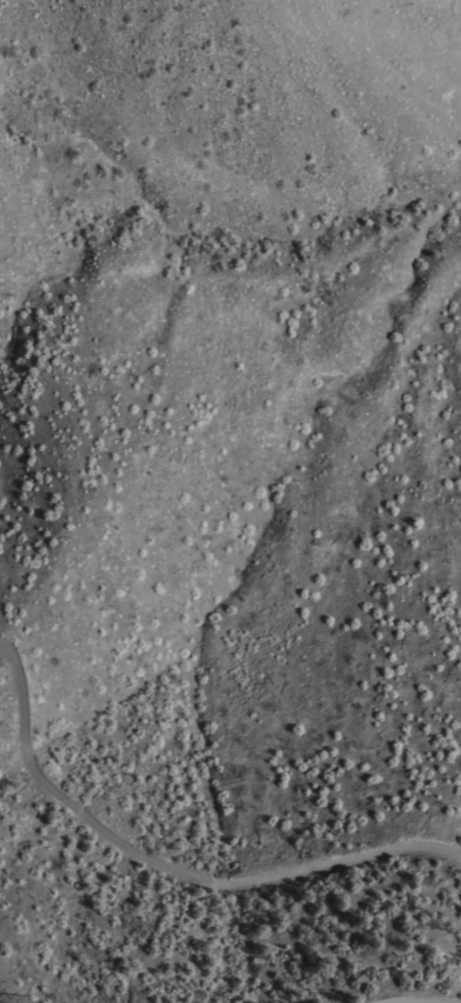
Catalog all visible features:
road: (173, 854)
road: (388, 984)
road: (124, 1000)

